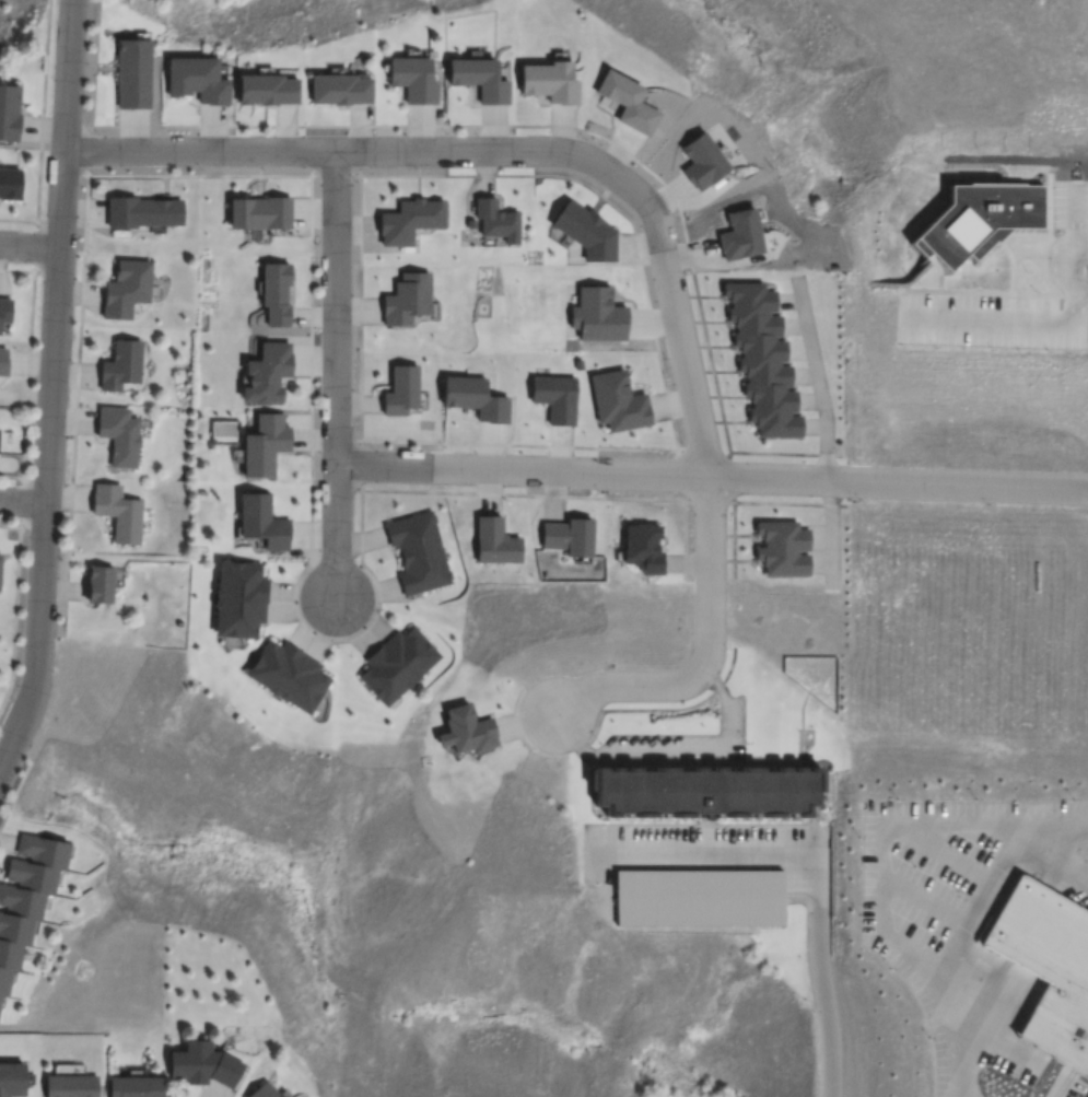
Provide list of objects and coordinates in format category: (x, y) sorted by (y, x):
road: (70, 70)
building: (134, 77)
building: (478, 77)
building: (196, 78)
building: (412, 78)
building: (549, 81)
building: (266, 89)
building: (338, 89)
building: (625, 100)
building: (11, 116)
building: (704, 166)
building: (11, 185)
building: (140, 210)
building: (258, 211)
building: (408, 218)
building: (495, 220)
road: (653, 221)
building: (585, 231)
road: (30, 249)
building: (126, 283)
building: (274, 292)
building: (405, 300)
building: (4, 308)
building: (761, 360)
building: (2, 361)
building: (119, 364)
building: (266, 373)
road: (334, 373)
building: (399, 389)
building: (558, 398)
building: (620, 406)
building: (118, 435)
building: (264, 444)
road: (46, 451)
road: (711, 476)
road: (21, 500)
building: (117, 511)
building: (261, 520)
building: (494, 536)
building: (572, 539)
building: (641, 546)
building: (418, 551)
building: (784, 553)
building: (0, 559)
building: (98, 583)
building: (237, 597)
building: (396, 662)
building: (286, 674)
building: (469, 733)
building: (705, 790)
road: (699, 848)
parking lot: (1080, 878)
building: (25, 892)
building: (698, 897)
building: (1049, 970)
road: (819, 972)
building: (207, 1070)
building: (14, 1081)
building: (72, 1087)
building: (136, 1088)
building: (266, 1092)
building: (285, 1095)

